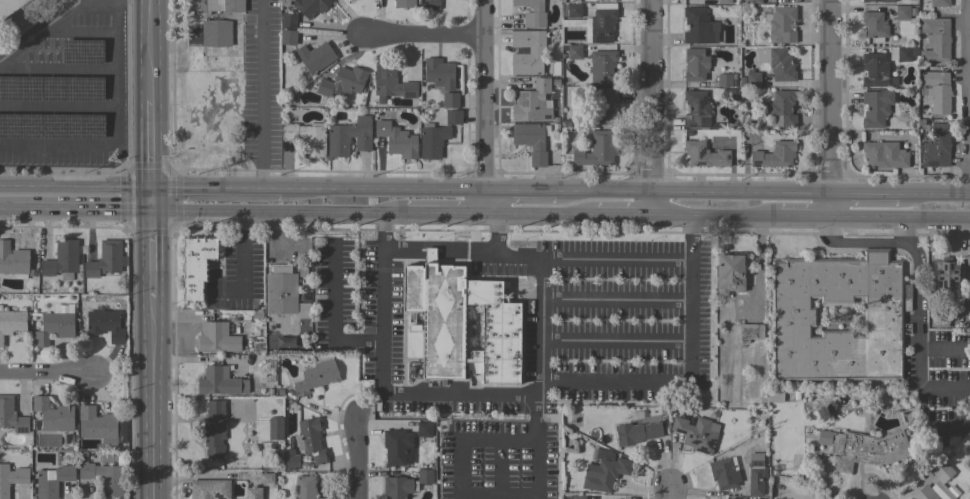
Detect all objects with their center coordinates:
building: (878, 0)
building: (751, 1)
building: (724, 2)
building: (404, 3)
building: (939, 3)
building: (428, 4)
building: (213, 5)
building: (309, 6)
building: (9, 7)
building: (574, 10)
building: (902, 12)
building: (532, 13)
building: (288, 20)
building: (600, 23)
building: (781, 25)
building: (874, 25)
building: (699, 26)
road: (41, 31)
building: (216, 33)
road: (421, 36)
building: (287, 37)
building: (935, 39)
building: (535, 51)
building: (574, 52)
building: (904, 53)
building: (315, 57)
building: (777, 63)
building: (695, 64)
building: (602, 67)
building: (875, 70)
building: (439, 73)
building: (726, 79)
building: (753, 79)
building: (342, 82)
building: (392, 82)
building: (51, 88)
building: (936, 90)
road: (260, 92)
building: (728, 95)
road: (830, 96)
road: (966, 97)
building: (449, 100)
building: (532, 102)
building: (603, 103)
road: (147, 105)
road: (484, 107)
building: (876, 107)
road: (652, 108)
building: (783, 108)
building: (696, 109)
building: (53, 125)
building: (437, 135)
building: (349, 137)
building: (306, 138)
building: (396, 140)
building: (531, 141)
building: (935, 146)
building: (597, 149)
building: (704, 154)
building: (774, 155)
building: (883, 155)
road: (74, 181)
traffic signals: (148, 183)
road: (214, 183)
road: (344, 186)
road: (445, 188)
road: (518, 188)
road: (604, 190)
road: (742, 192)
road: (863, 193)
road: (932, 194)
road: (831, 204)
road: (73, 208)
traffic signals: (147, 210)
road: (265, 211)
road: (437, 213)
road: (542, 214)
road: (624, 215)
road: (674, 216)
road: (734, 216)
road: (803, 216)
road: (871, 217)
road: (940, 218)
road: (383, 230)
road: (493, 231)
road: (909, 231)
road: (856, 243)
building: (62, 258)
building: (105, 259)
road: (620, 259)
building: (13, 261)
building: (196, 265)
building: (729, 273)
building: (946, 273)
building: (280, 293)
road: (619, 298)
building: (62, 308)
building: (303, 310)
road: (917, 314)
road: (332, 316)
building: (793, 317)
building: (940, 320)
building: (11, 323)
building: (462, 323)
building: (105, 324)
building: (54, 328)
building: (750, 332)
building: (216, 338)
road: (619, 340)
road: (147, 354)
road: (46, 375)
building: (316, 377)
road: (553, 380)
building: (220, 382)
road: (393, 390)
building: (775, 395)
building: (53, 415)
building: (11, 416)
building: (98, 425)
building: (213, 429)
building: (275, 429)
building: (424, 430)
building: (636, 432)
building: (697, 434)
building: (311, 440)
building: (396, 446)
building: (866, 450)
building: (600, 454)
road: (358, 458)
building: (291, 460)
building: (941, 471)
building: (604, 474)
building: (723, 474)
building: (755, 474)
building: (105, 476)
building: (424, 477)
building: (11, 478)
building: (266, 478)
building: (52, 481)
building: (304, 487)
building: (396, 487)
building: (209, 489)
building: (253, 493)
building: (924, 493)
road: (667, 495)
road: (493, 496)
building: (578, 497)
building: (742, 498)

